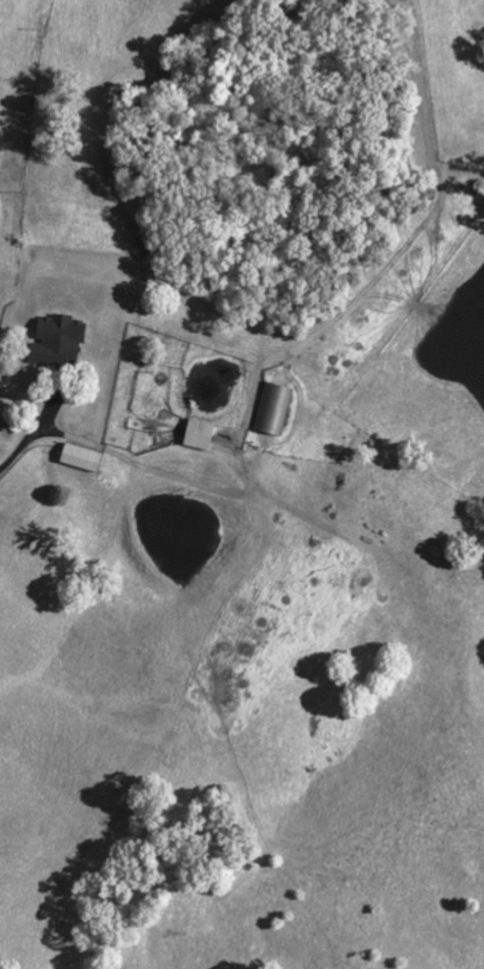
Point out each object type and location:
building: (68, 327)
building: (276, 406)
road: (27, 430)
building: (205, 434)
building: (86, 457)

